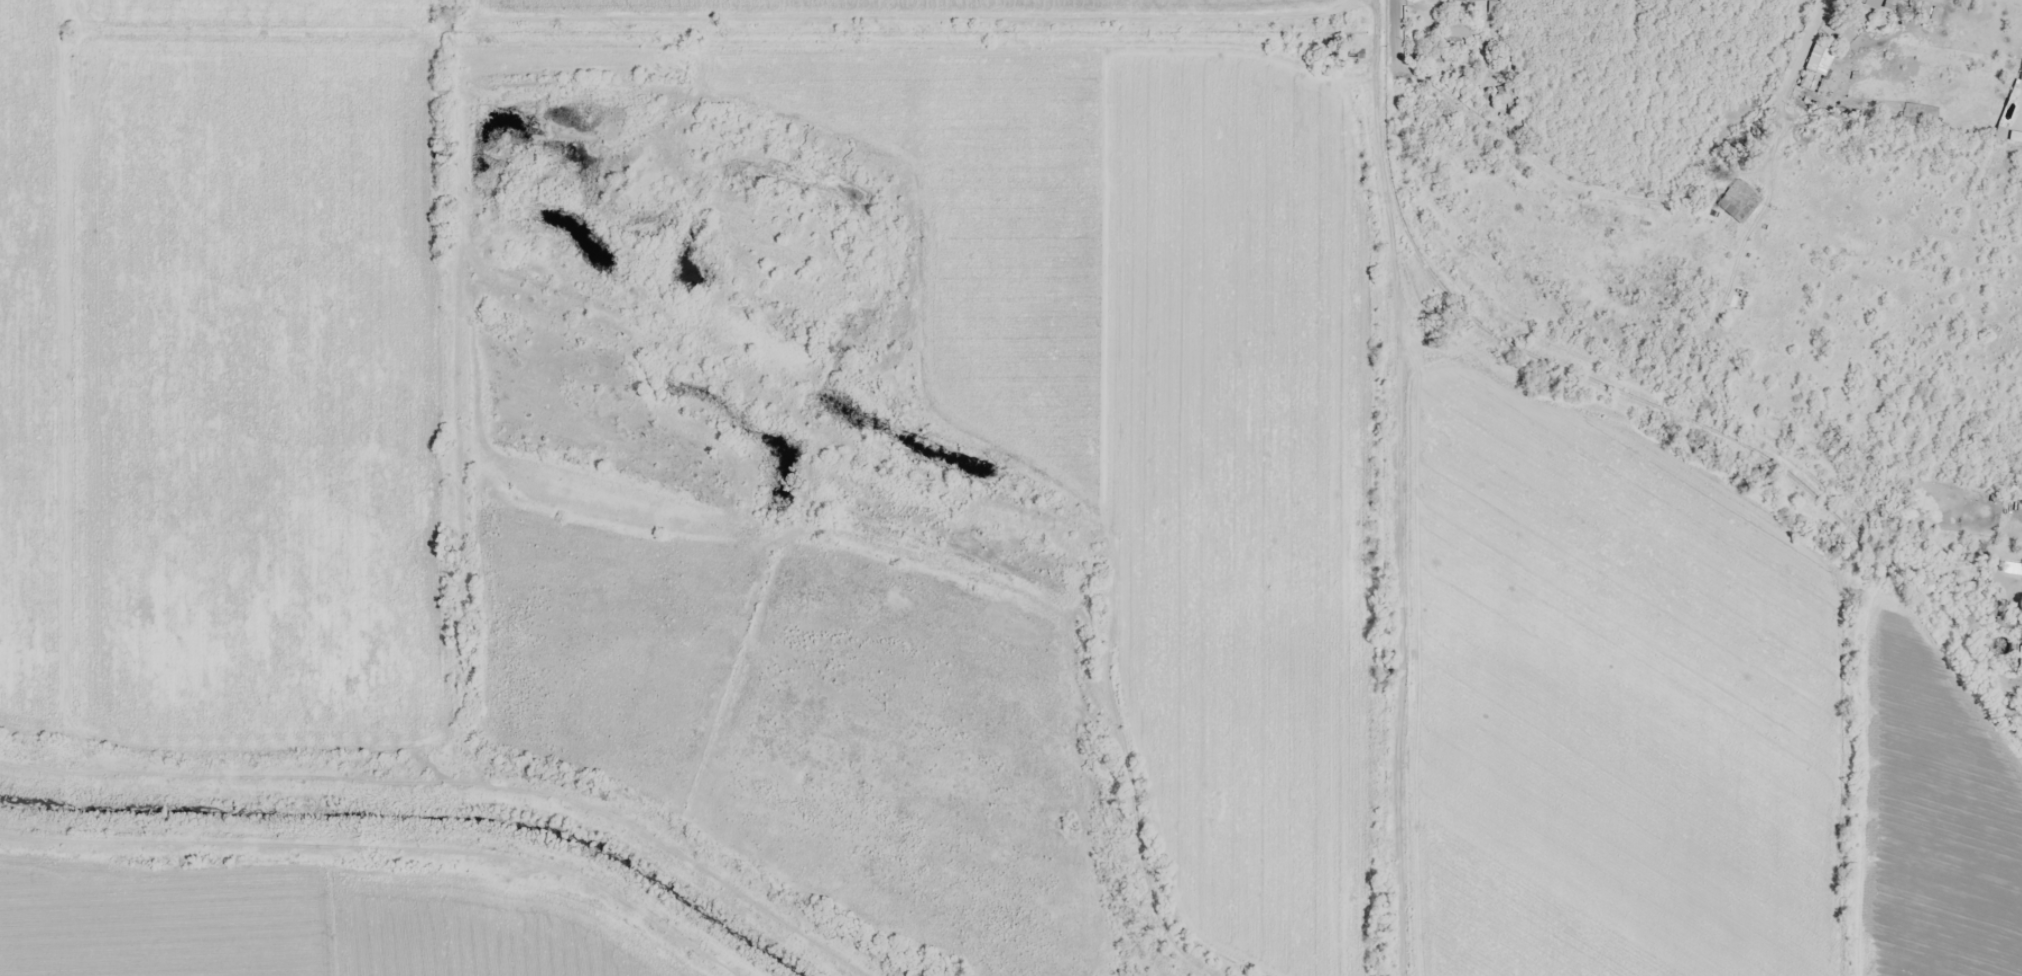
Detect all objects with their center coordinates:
road: (1394, 29)
road: (1792, 83)
road: (1561, 180)
road: (1570, 357)

